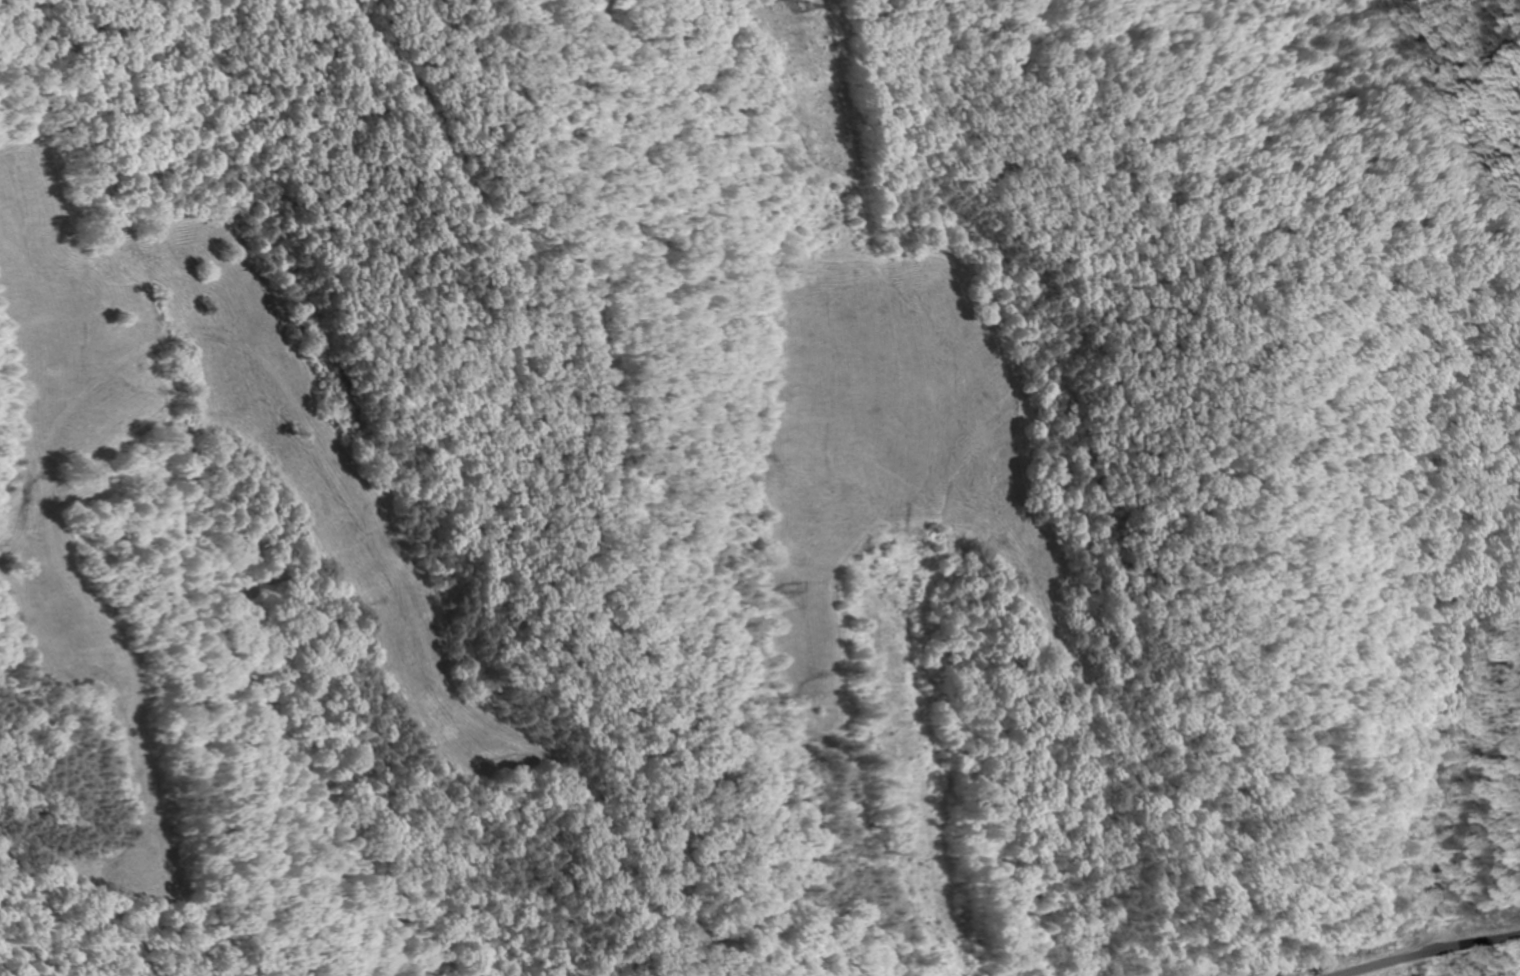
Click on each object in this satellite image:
road: (1428, 950)

